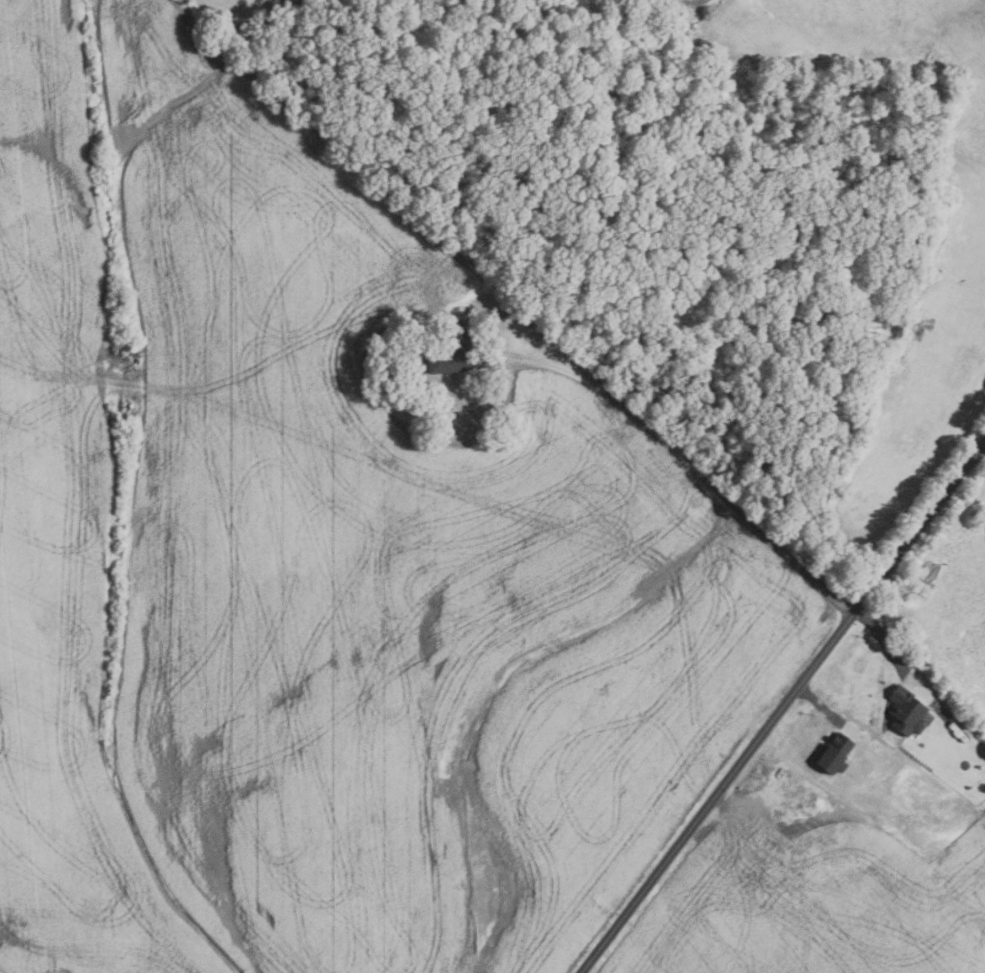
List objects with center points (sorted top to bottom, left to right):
building: (685, 16)
building: (450, 359)
road: (665, 450)
road: (783, 710)
building: (908, 711)
building: (836, 754)
building: (822, 828)
building: (797, 884)

